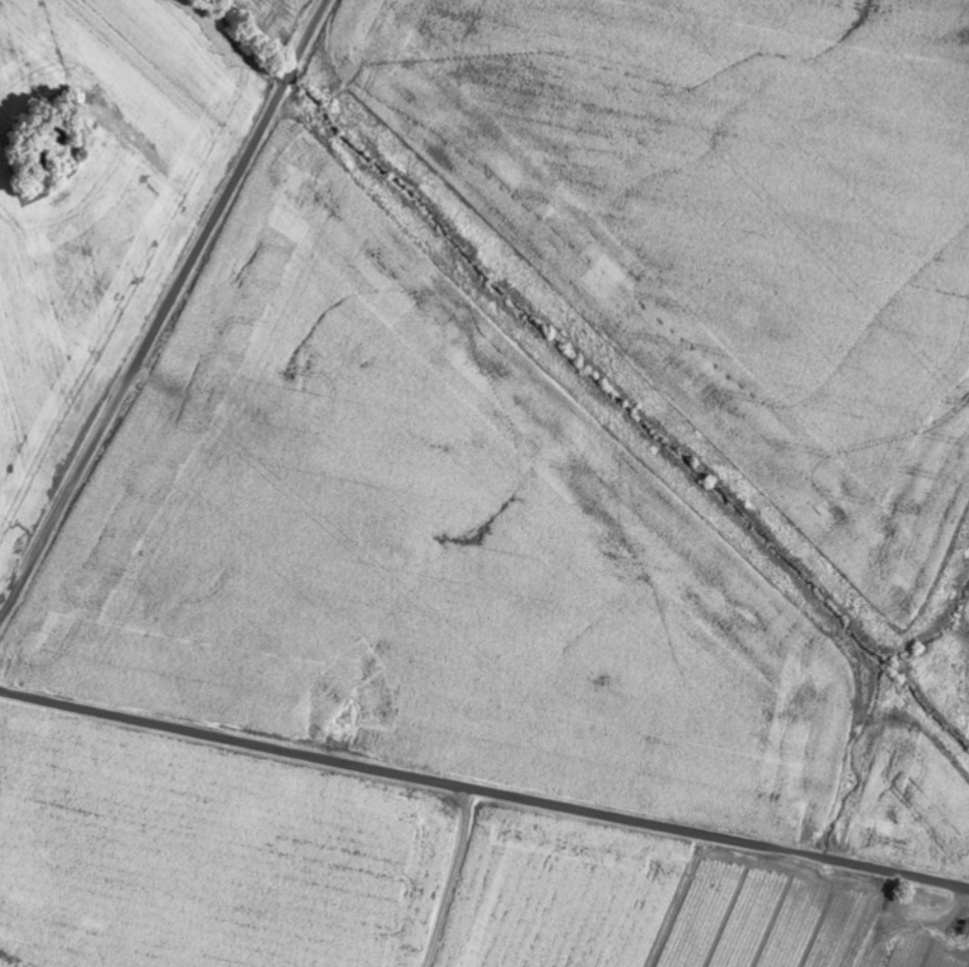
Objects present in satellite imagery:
road: (164, 311)
road: (484, 791)

